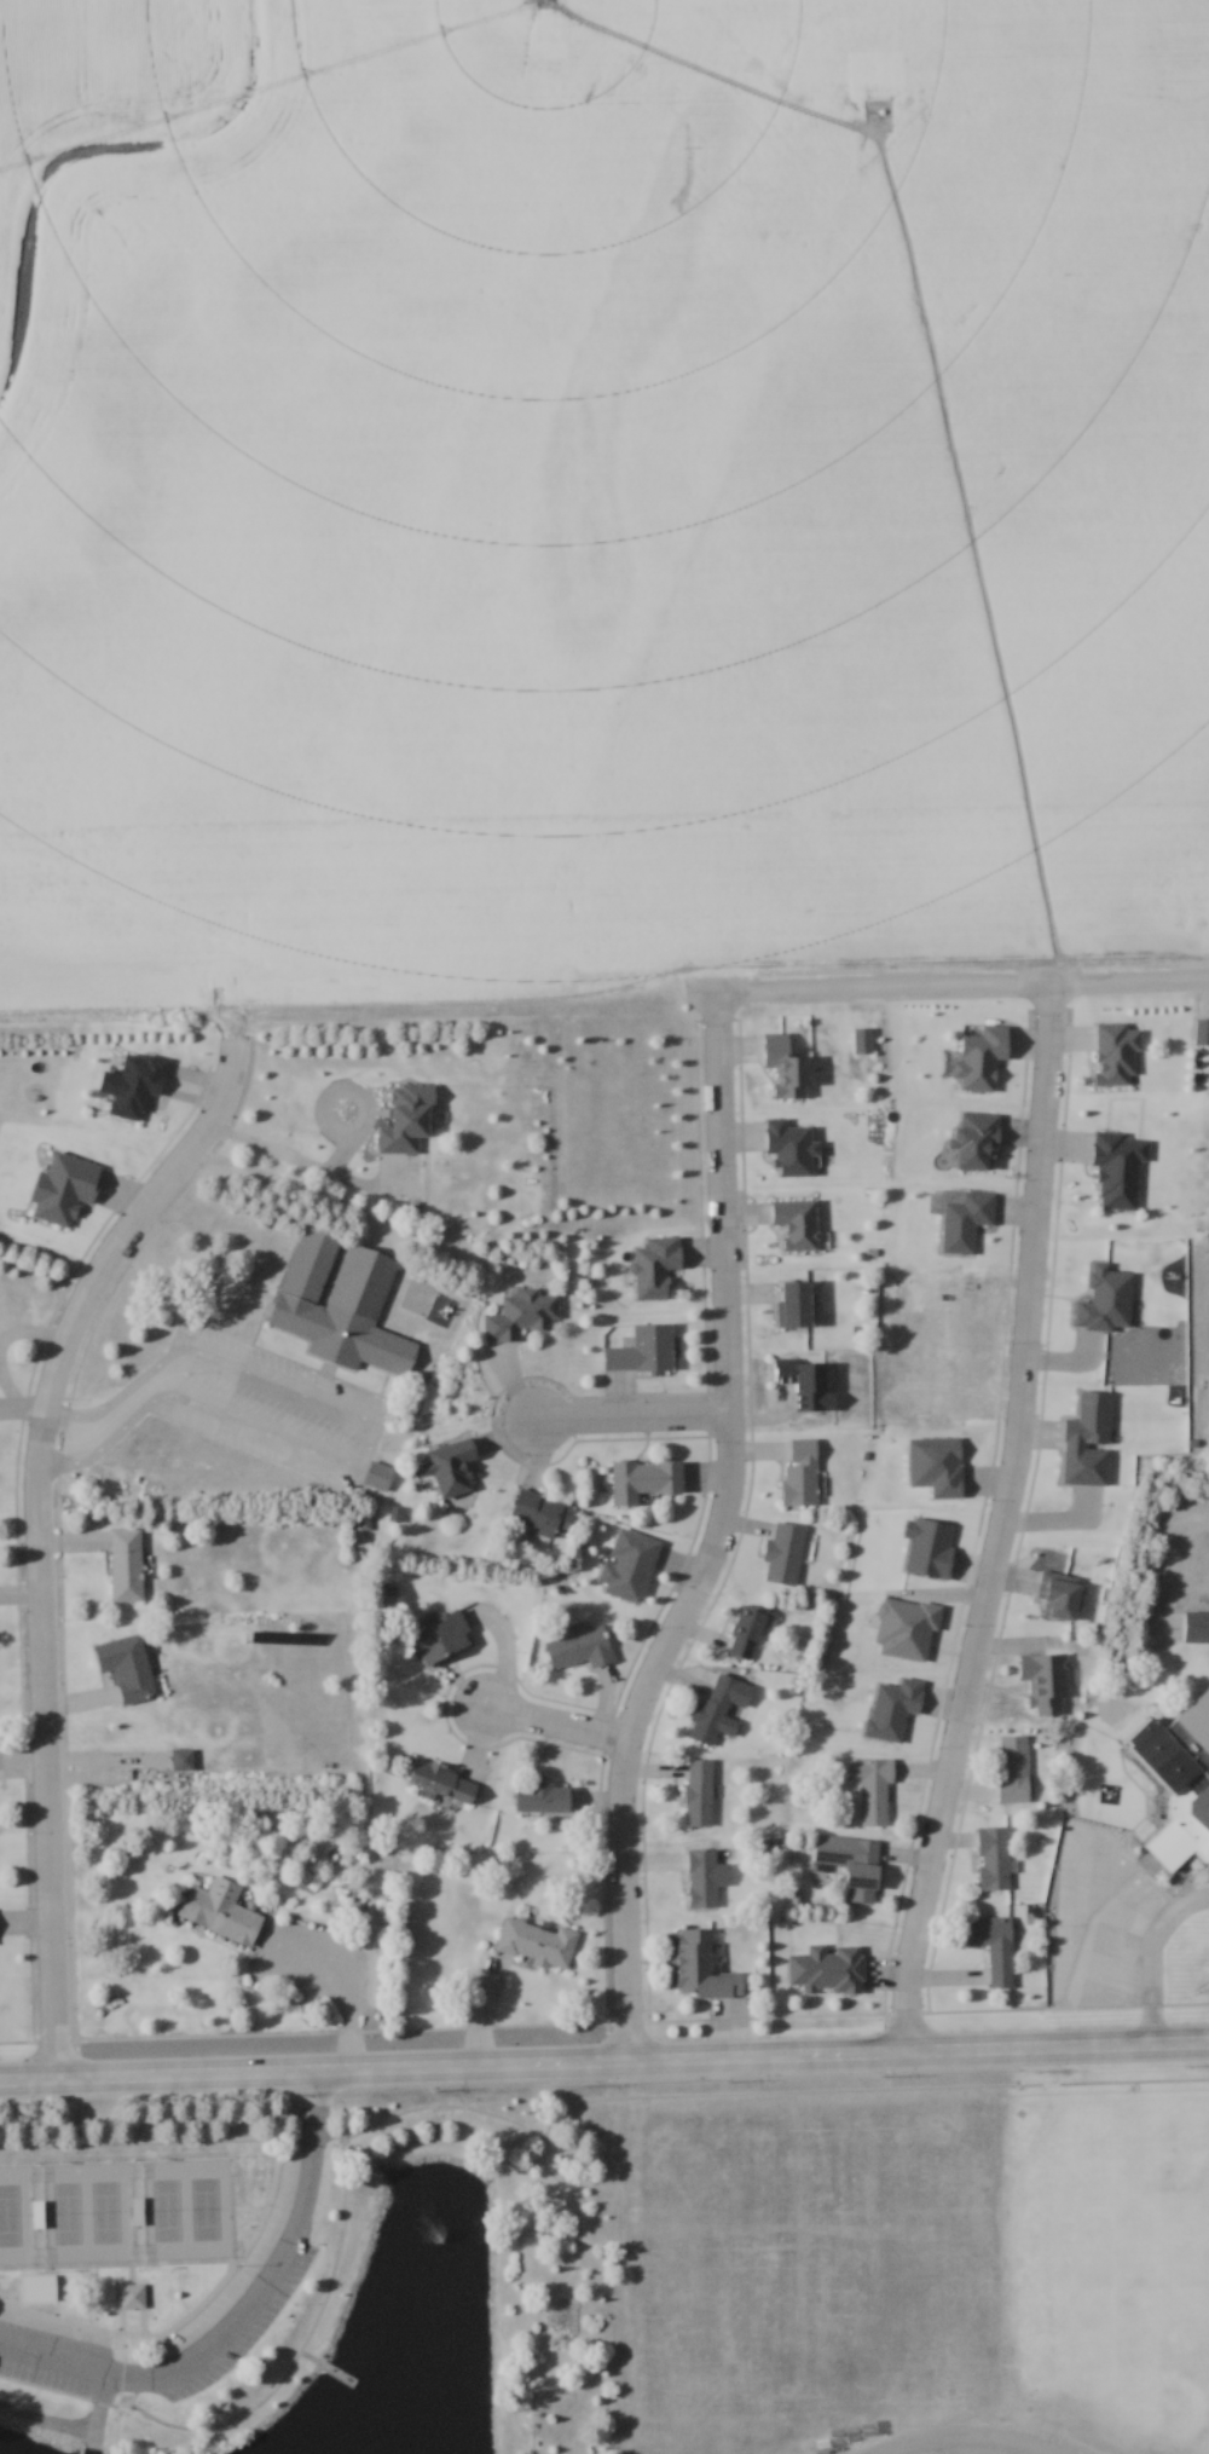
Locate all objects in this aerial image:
crop: (102, 85)
crop: (618, 508)
building: (1208, 943)
building: (1117, 1055)
building: (980, 1061)
building: (788, 1068)
building: (137, 1086)
building: (410, 1120)
building: (797, 1223)
building: (655, 1266)
building: (796, 1304)
building: (341, 1305)
building: (521, 1315)
building: (642, 1350)
road: (190, 1363)
building: (806, 1384)
road: (620, 1416)
building: (1088, 1421)
building: (452, 1466)
building: (800, 1472)
building: (643, 1480)
building: (543, 1514)
road: (996, 1523)
road: (33, 1535)
road: (713, 1538)
building: (783, 1554)
building: (126, 1564)
building: (1196, 1627)
building: (747, 1633)
building: (442, 1638)
building: (580, 1646)
building: (132, 1668)
building: (1045, 1682)
building: (713, 1715)
road: (544, 1722)
building: (183, 1759)
building: (1013, 1768)
building: (444, 1783)
building: (873, 1788)
building: (698, 1792)
building: (1174, 1794)
building: (543, 1797)
building: (994, 1858)
building: (864, 1871)
building: (701, 1878)
building: (221, 1911)
building: (536, 1942)
building: (995, 1947)
road: (1147, 1953)
building: (692, 1961)
road: (603, 2061)
park: (127, 2207)
park: (312, 2269)
building: (133, 2297)
road: (238, 2321)
road: (973, 2447)

